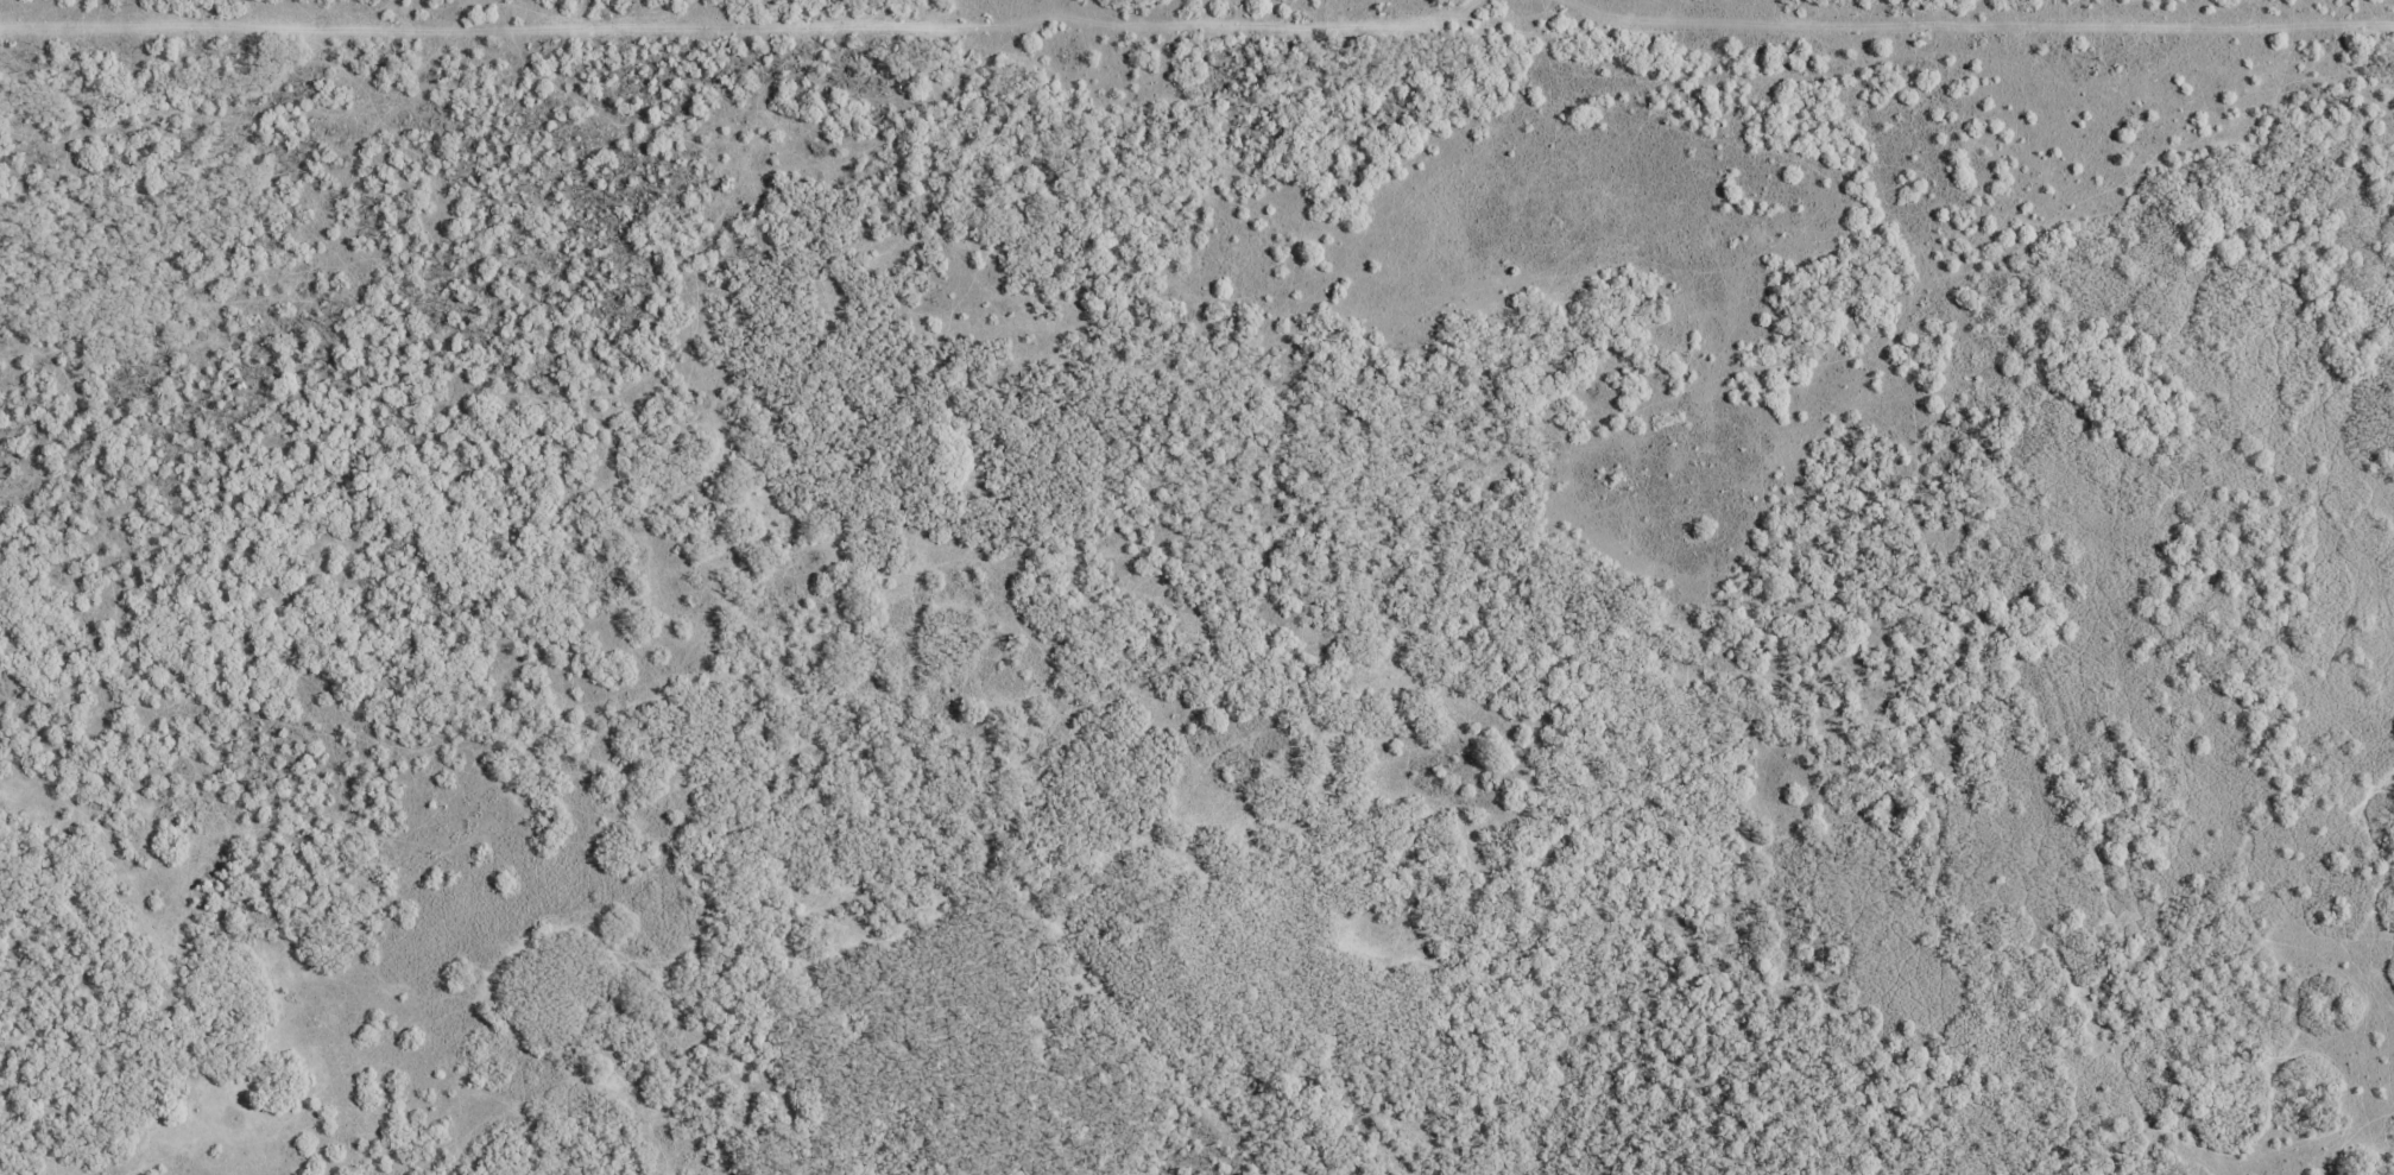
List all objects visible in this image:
road: (1979, 397)

